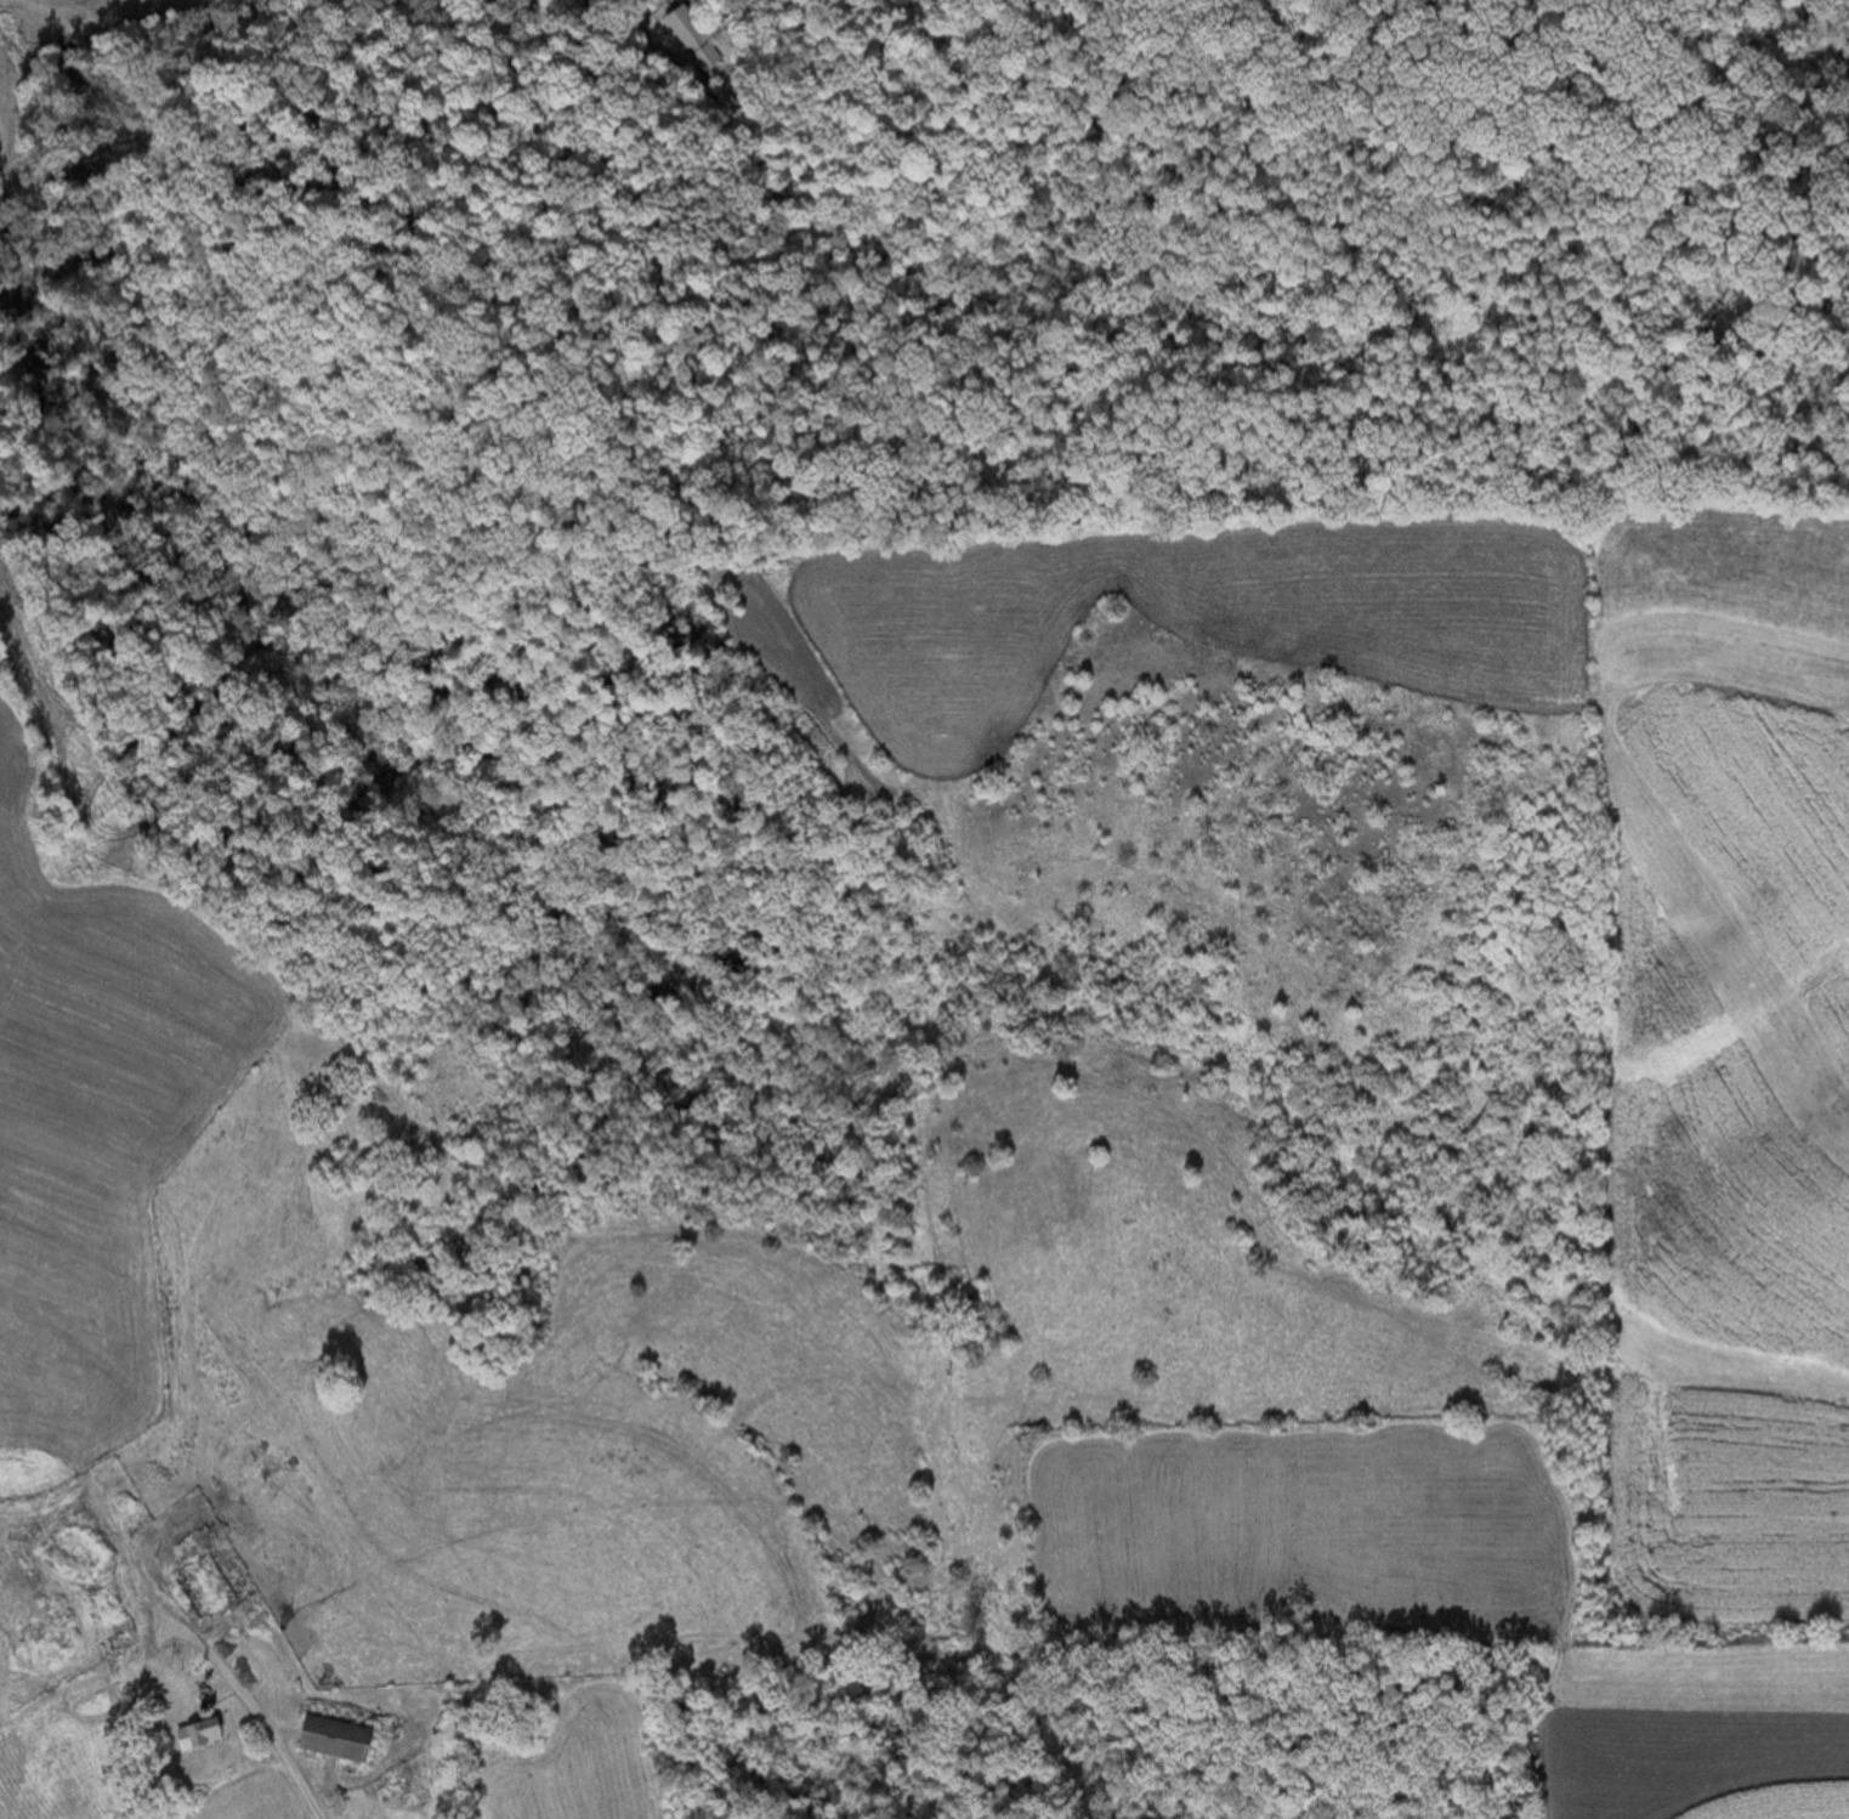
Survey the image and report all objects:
building: (684, 30)
building: (84, 1554)
building: (206, 1588)
building: (208, 1734)
building: (329, 1740)
road: (305, 1790)

